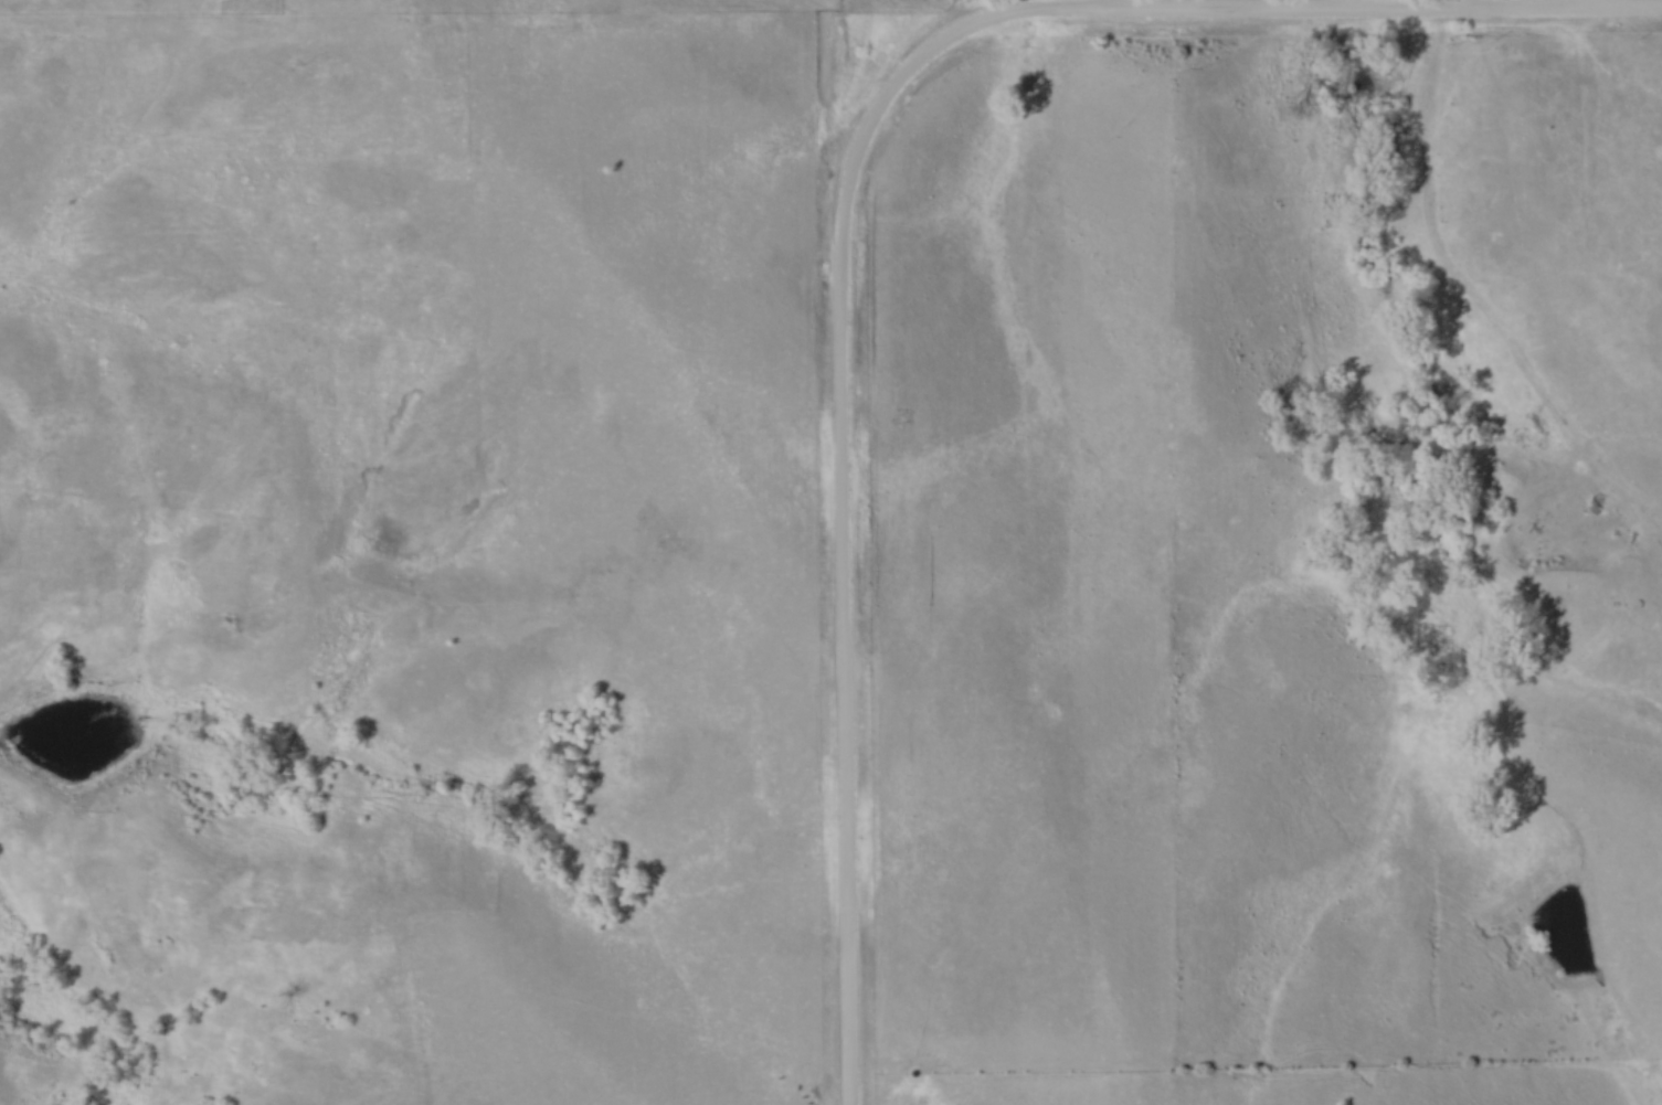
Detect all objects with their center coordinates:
road: (1485, 7)
road: (1334, 12)
road: (844, 523)

